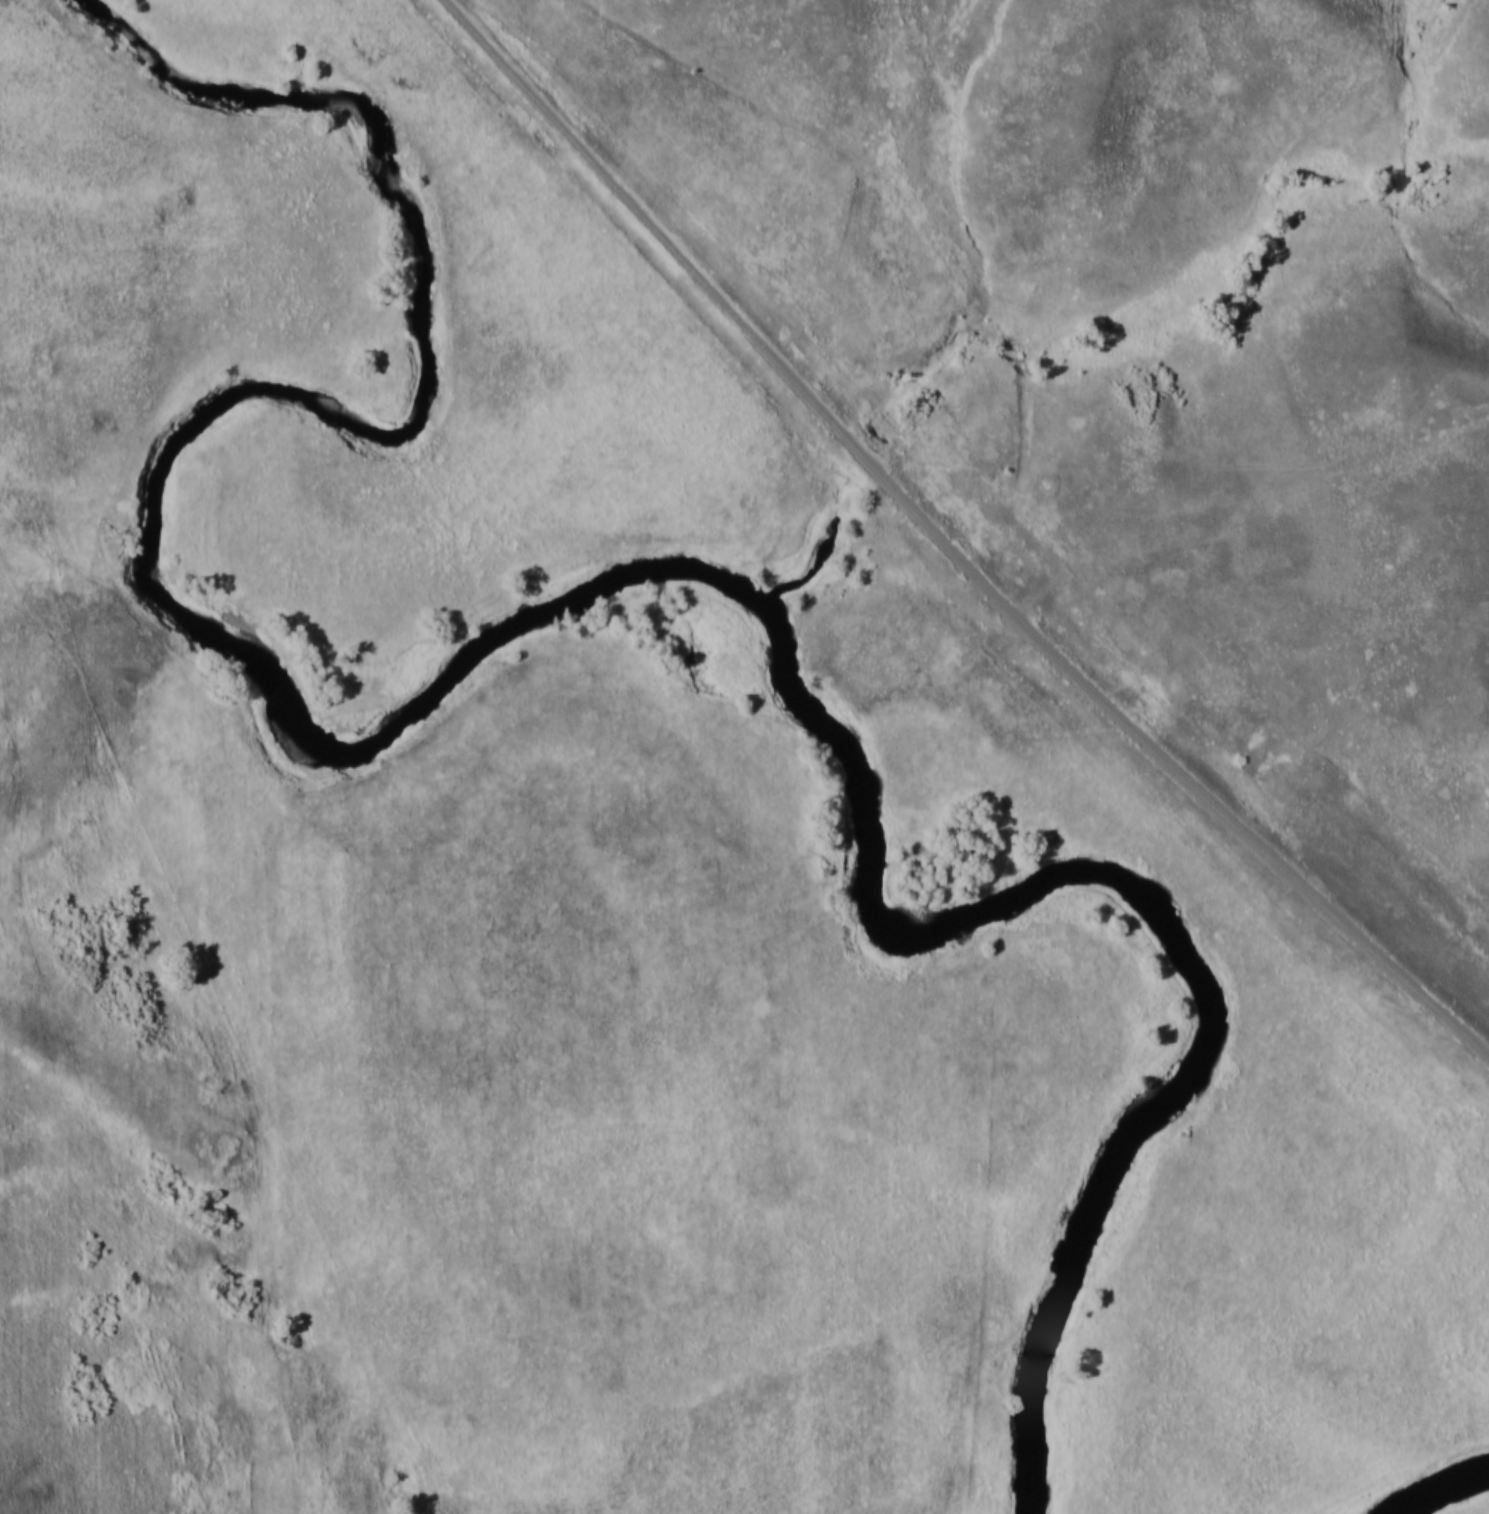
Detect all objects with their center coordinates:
road: (947, 548)
river: (536, 614)
road: (162, 634)
river: (1438, 1483)

